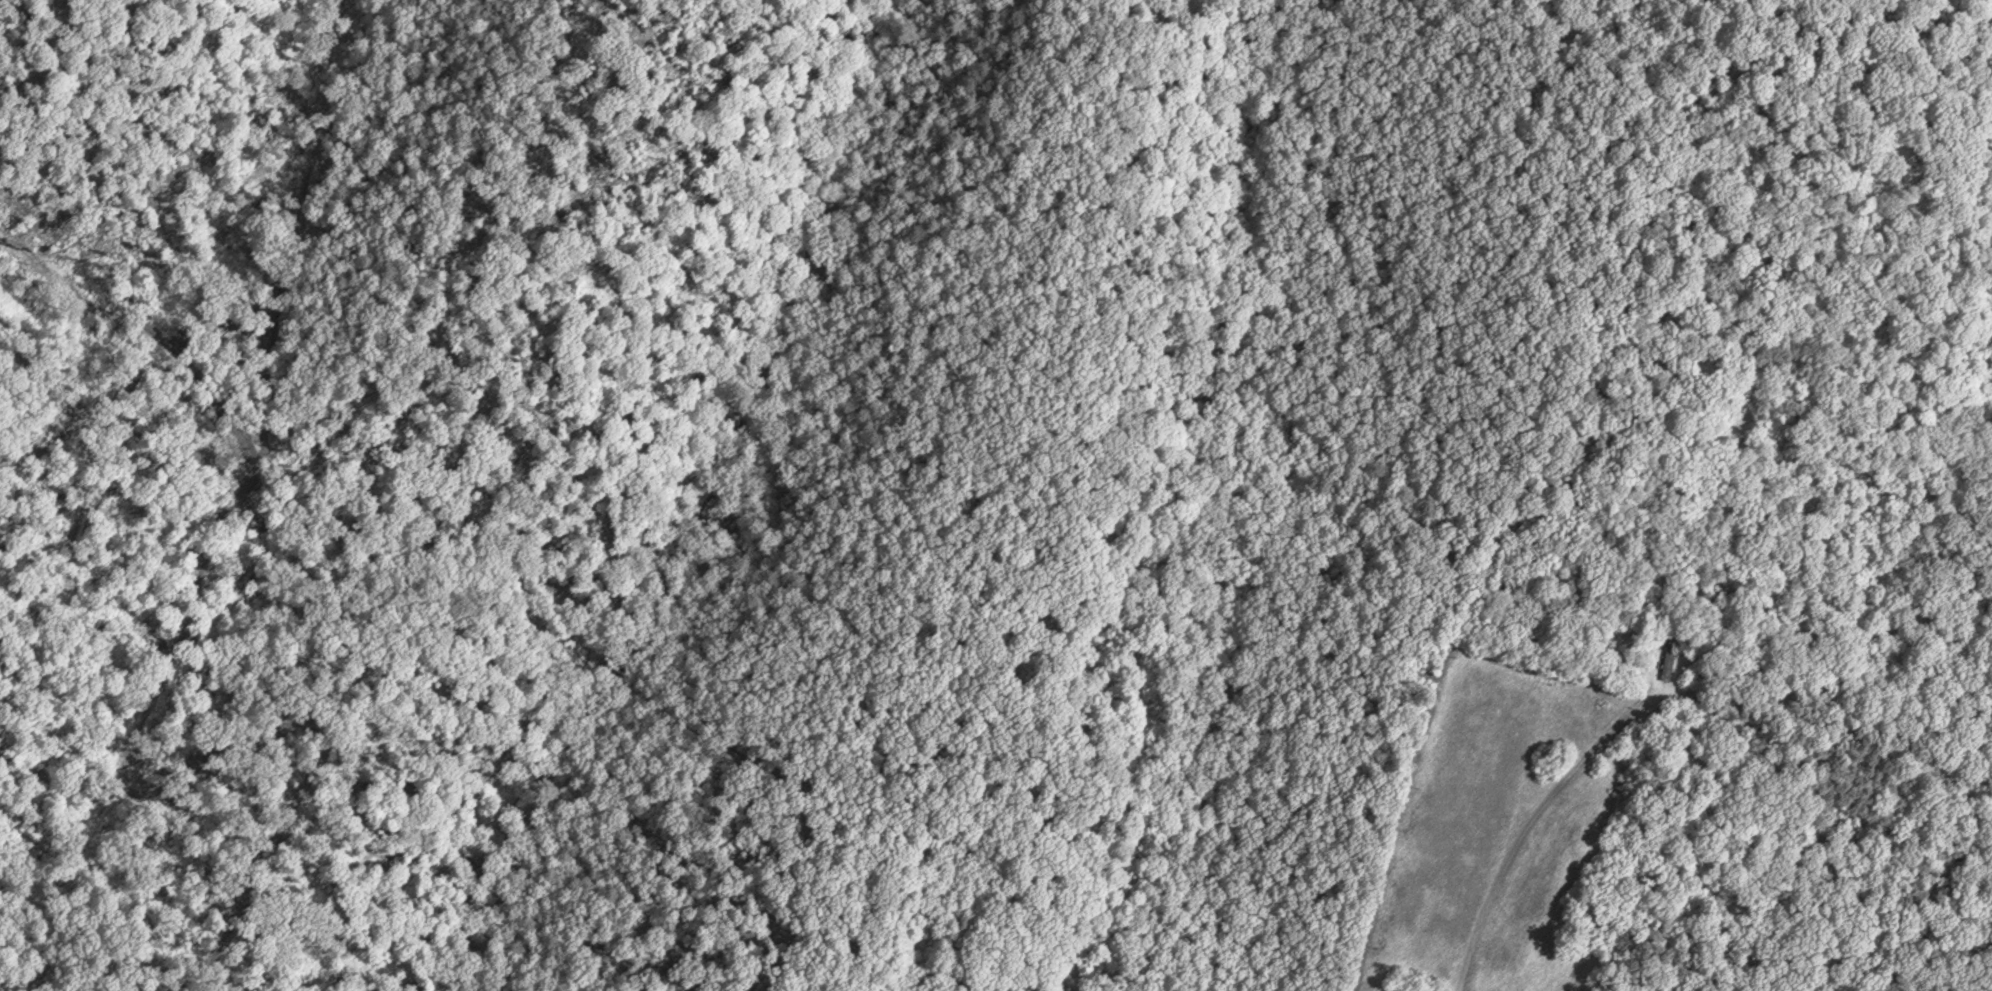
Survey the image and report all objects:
building: (1669, 656)

